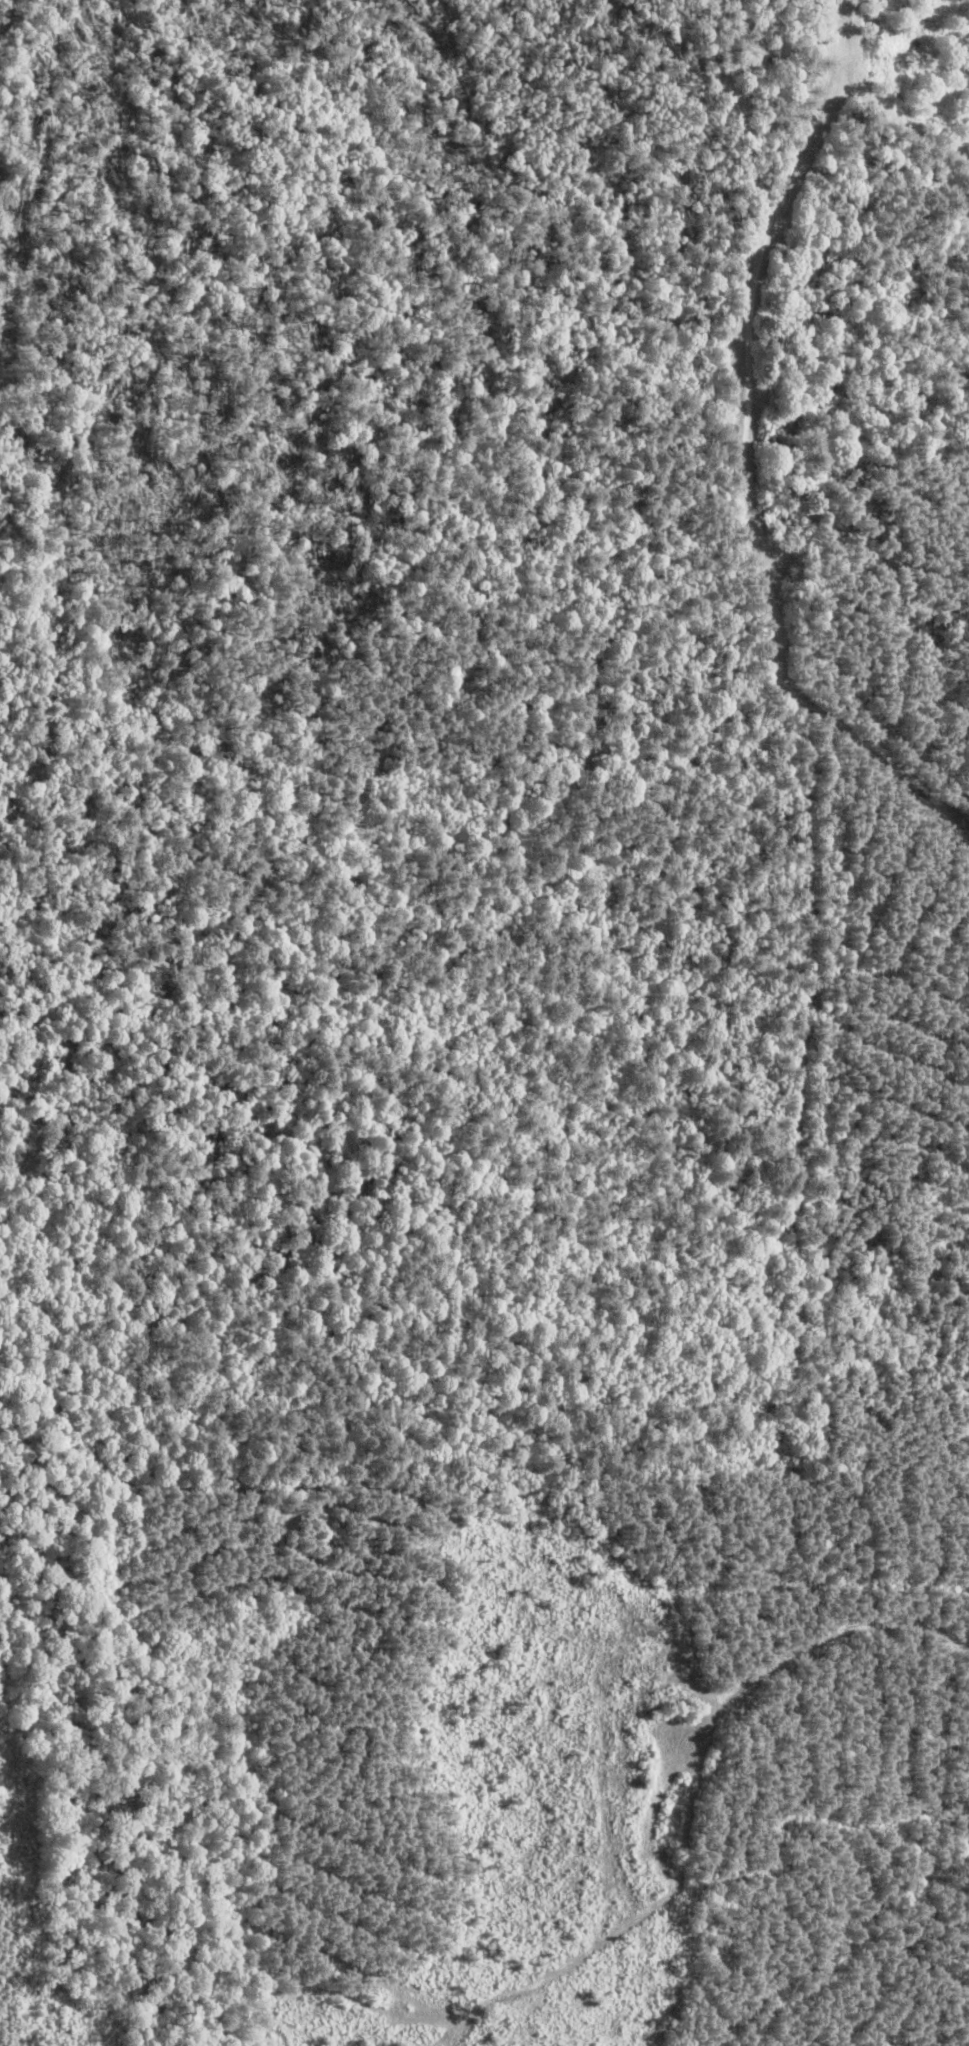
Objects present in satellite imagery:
road: (735, 465)

